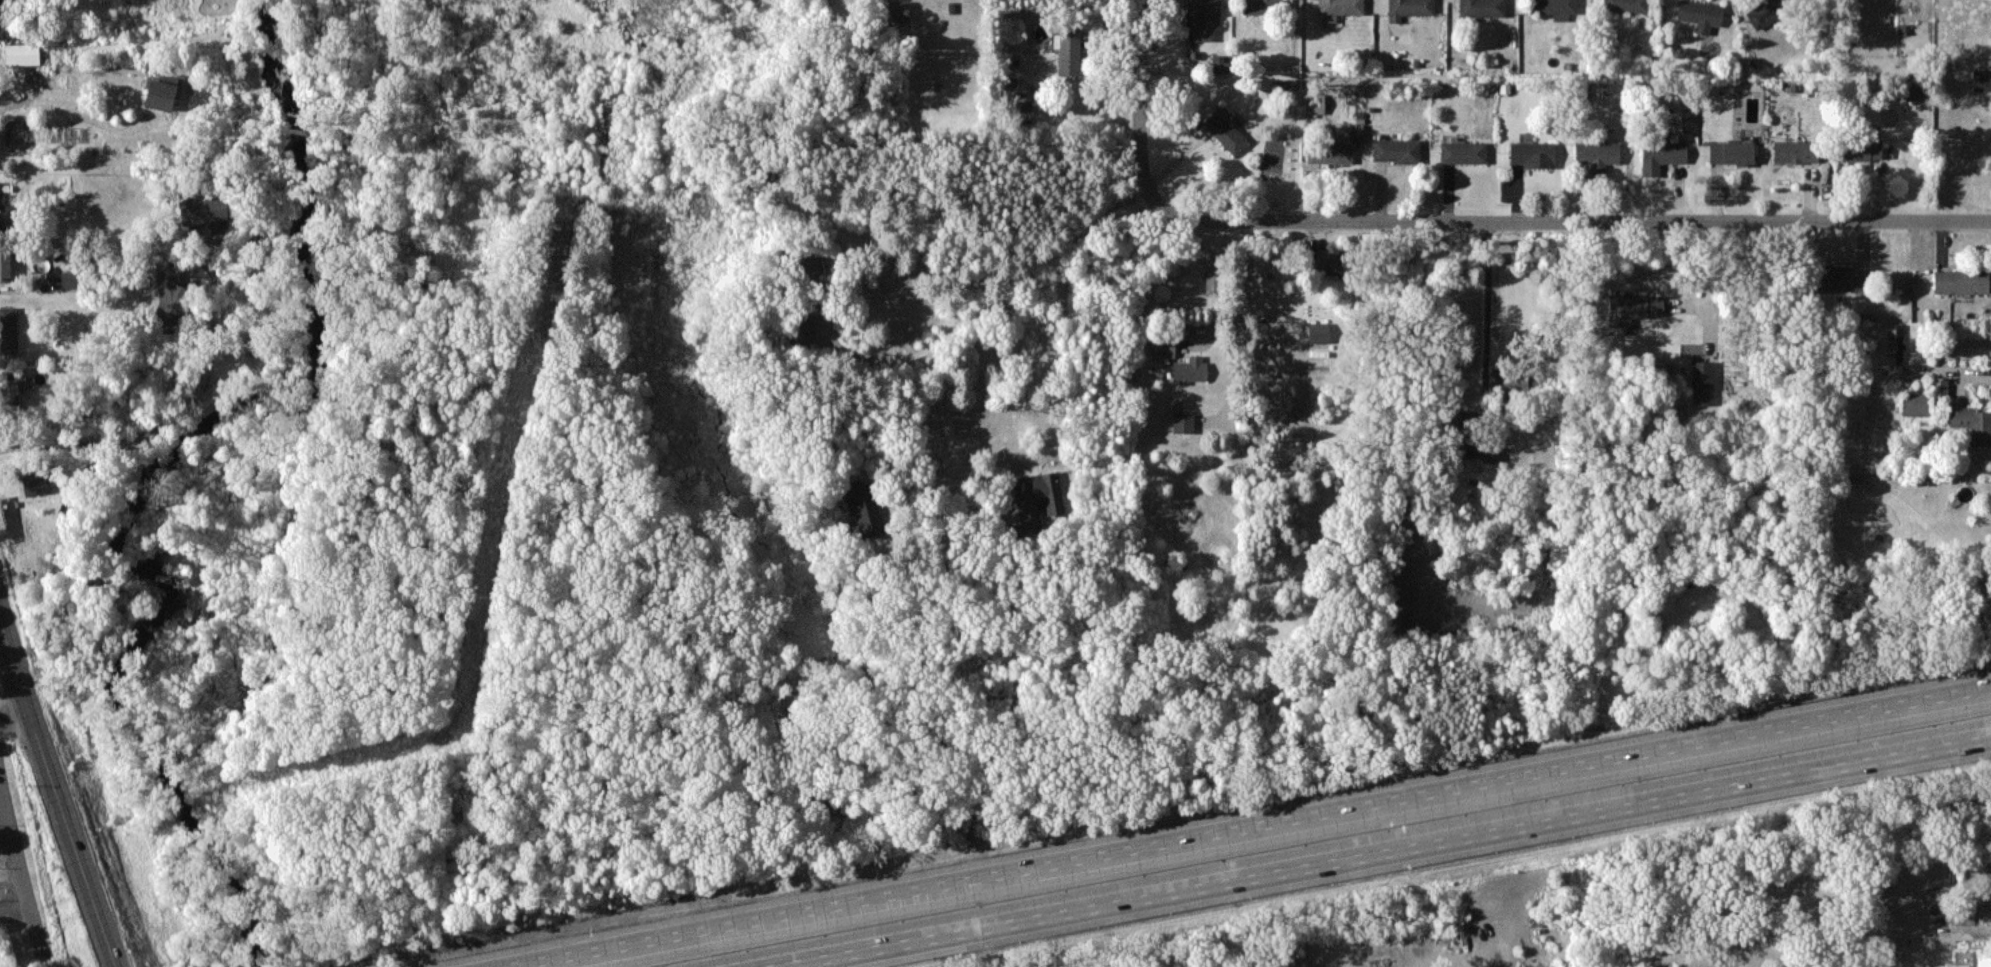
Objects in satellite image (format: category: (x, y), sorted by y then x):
building: (1259, 6)
building: (1625, 6)
building: (1482, 7)
building: (1339, 8)
building: (1408, 8)
building: (1556, 8)
building: (899, 10)
building: (1765, 13)
building: (1700, 14)
building: (1203, 17)
building: (1069, 50)
building: (22, 54)
building: (1981, 79)
road: (5, 82)
building: (1915, 89)
building: (162, 92)
building: (1317, 102)
road: (74, 116)
road: (1140, 131)
building: (1226, 132)
building: (1862, 148)
building: (1396, 150)
building: (1795, 151)
building: (1329, 152)
building: (1463, 152)
building: (1731, 152)
building: (1532, 154)
building: (1661, 155)
building: (1597, 156)
building: (204, 209)
road: (1598, 213)
building: (6, 215)
building: (808, 263)
building: (1329, 263)
building: (5, 266)
building: (1839, 278)
building: (70, 279)
road: (1710, 281)
building: (1961, 281)
road: (1224, 288)
building: (169, 291)
road: (988, 302)
building: (1633, 307)
road: (1234, 323)
building: (9, 330)
road: (1489, 331)
building: (799, 332)
building: (1318, 332)
building: (1896, 344)
building: (1164, 348)
building: (1191, 369)
building: (1702, 382)
building: (1940, 386)
building: (9, 388)
building: (1915, 404)
building: (1183, 422)
building: (1972, 423)
road: (947, 424)
road: (166, 431)
building: (36, 482)
building: (1036, 499)
building: (865, 508)
road: (14, 715)
road: (1, 719)
road: (54, 784)
road: (1250, 826)
road: (17, 848)
road: (1386, 853)
building: (1970, 958)
road: (110, 964)

